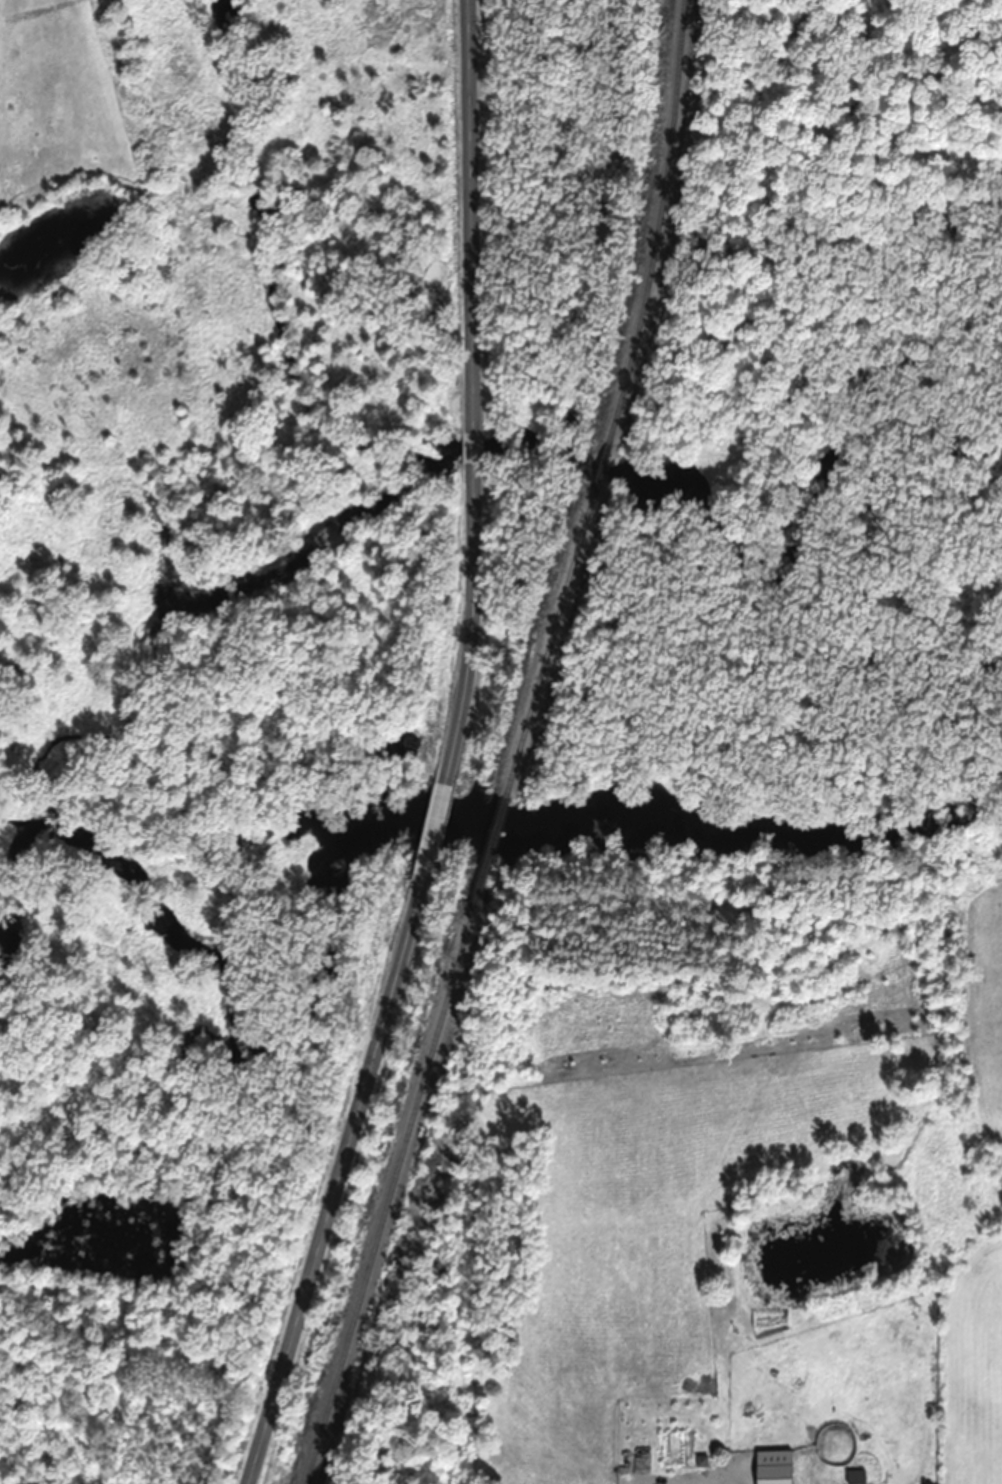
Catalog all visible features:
road: (471, 216)
railway: (663, 225)
road: (472, 449)
railway: (600, 471)
road: (474, 624)
railway: (553, 649)
road: (430, 842)
railway: (486, 856)
road: (331, 1193)
railway: (387, 1200)

